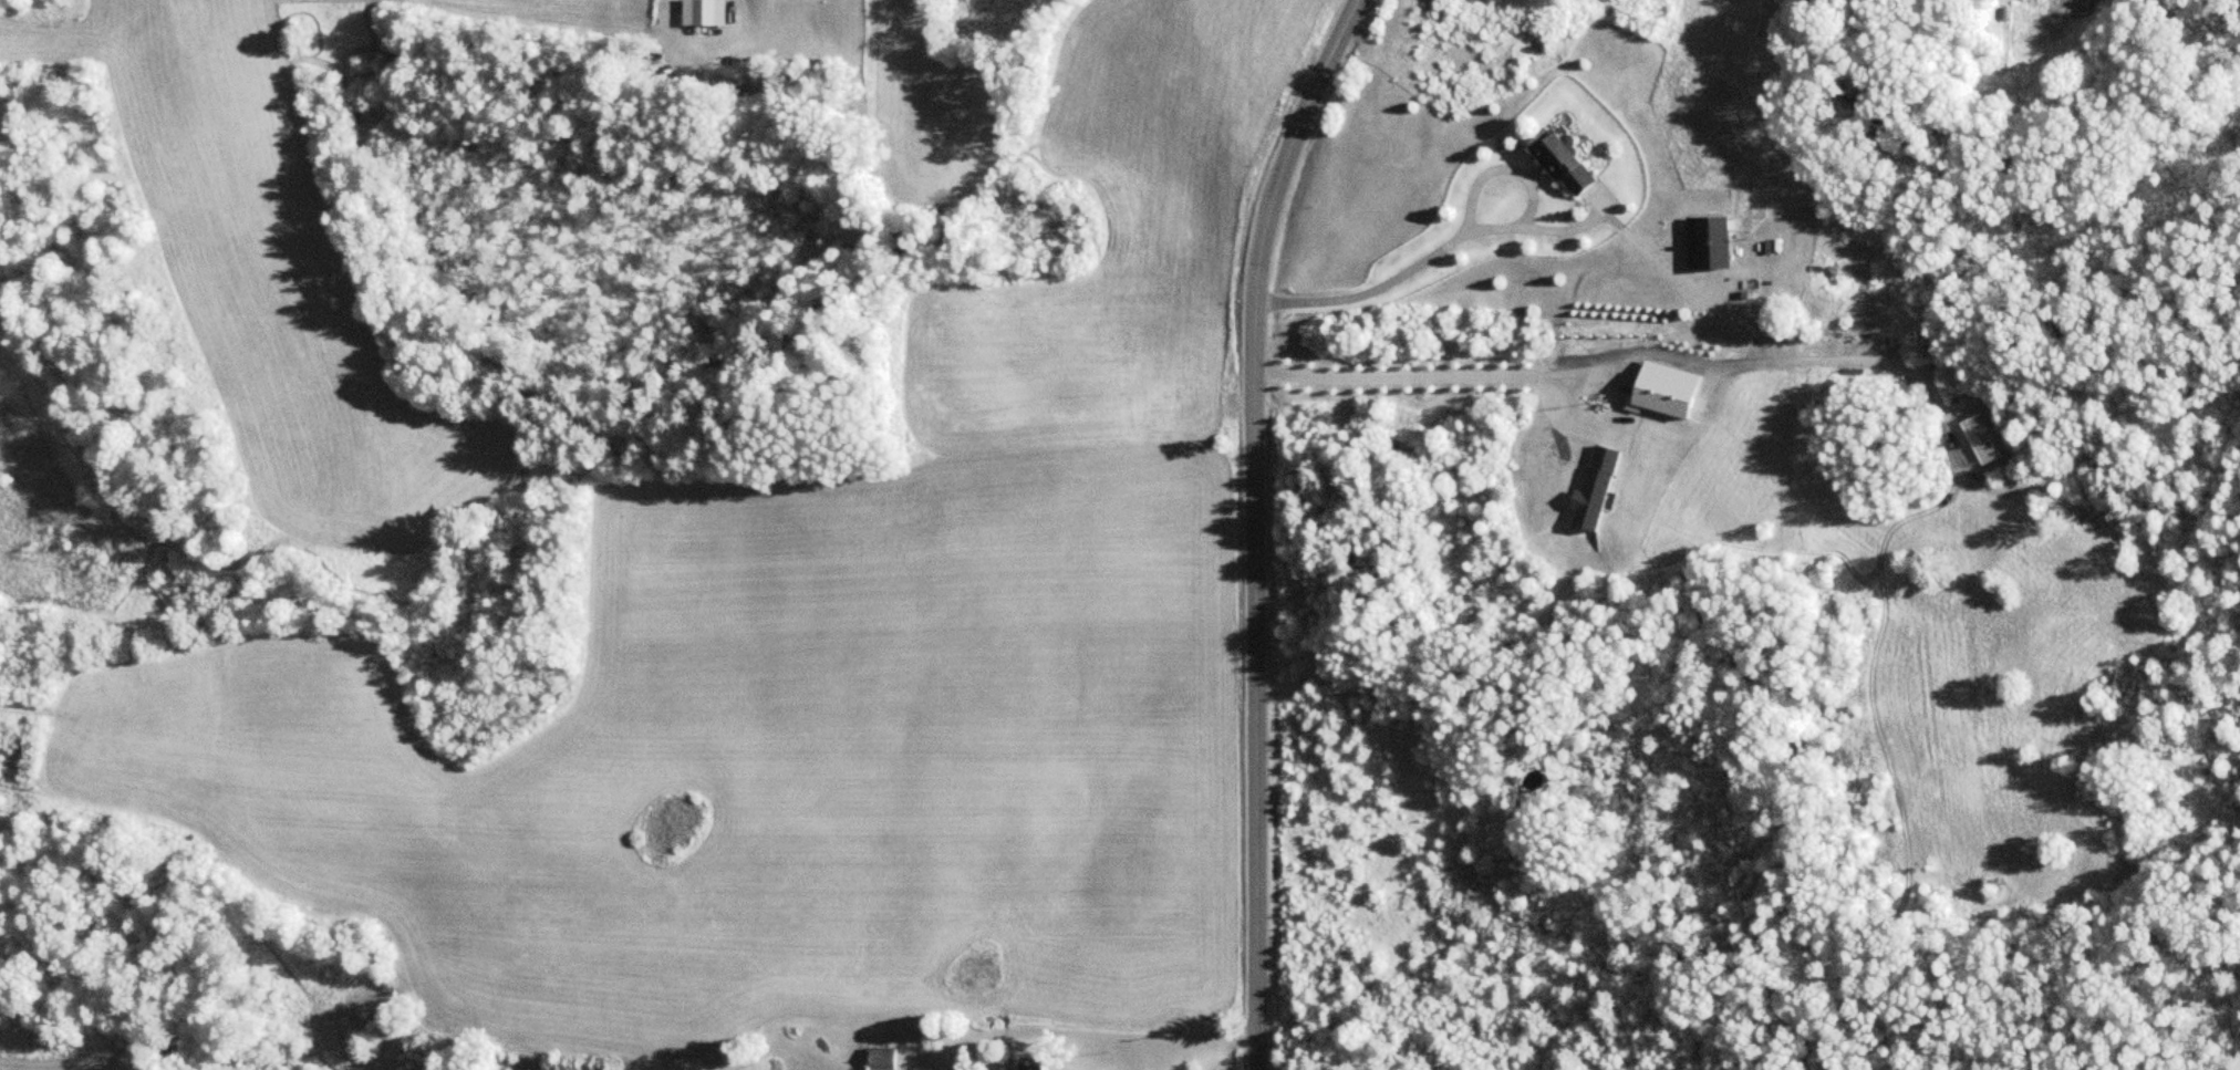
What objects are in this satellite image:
building: (1554, 159)
building: (1701, 241)
road: (1264, 523)
building: (885, 1059)
building: (1041, 1064)

